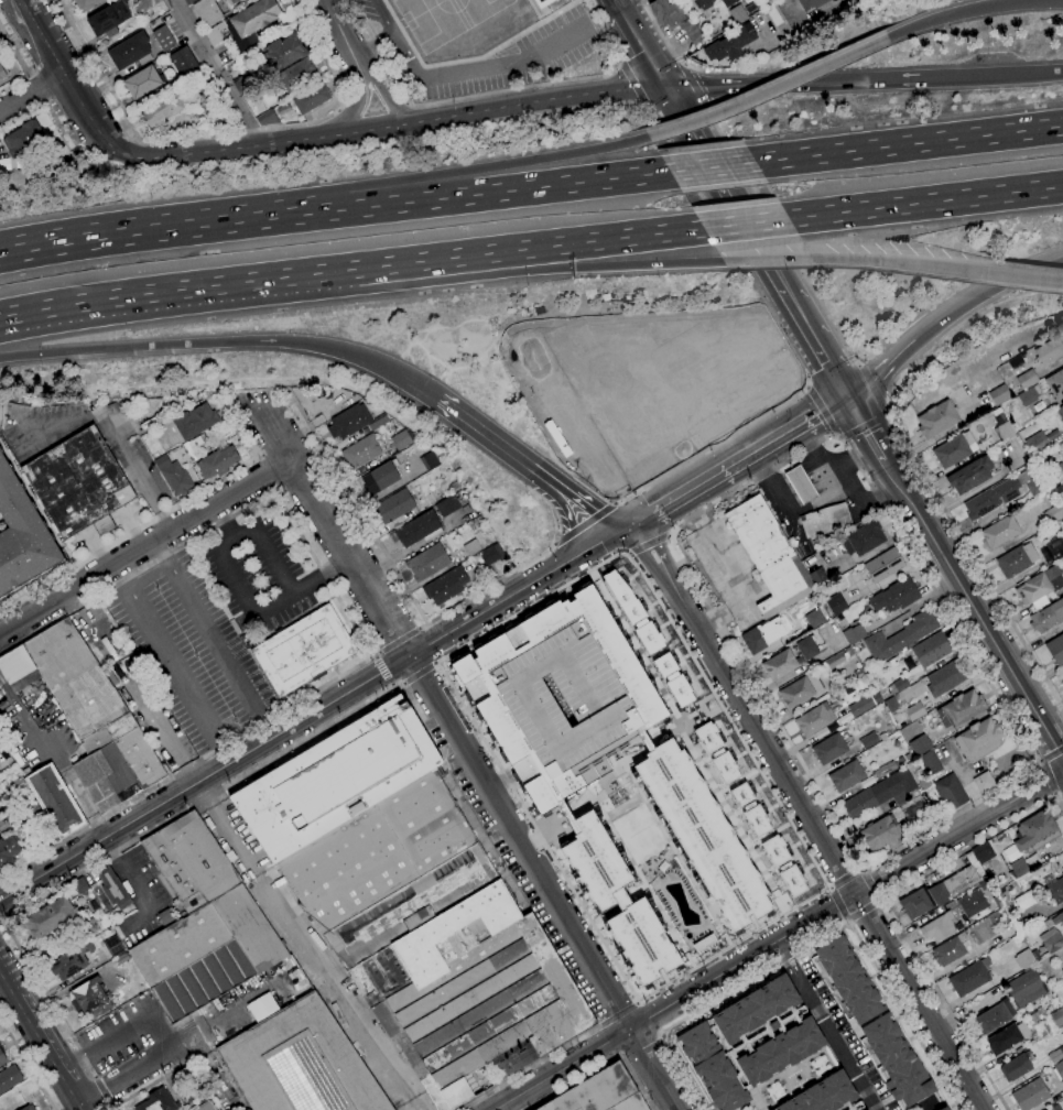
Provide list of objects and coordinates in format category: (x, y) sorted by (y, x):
road: (643, 1)
building: (189, 2)
building: (230, 2)
building: (542, 2)
building: (727, 2)
building: (702, 3)
building: (811, 3)
building: (86, 4)
road: (617, 7)
building: (750, 8)
road: (972, 10)
building: (207, 12)
parking lot: (367, 12)
building: (666, 13)
building: (737, 14)
park: (487, 15)
road: (383, 17)
road: (815, 17)
building: (254, 18)
building: (778, 19)
building: (108, 20)
park: (431, 23)
building: (215, 33)
road: (338, 34)
building: (232, 35)
building: (693, 35)
building: (163, 39)
road: (664, 40)
road: (372, 44)
building: (729, 44)
building: (129, 51)
road: (642, 51)
building: (281, 54)
road: (381, 55)
parking lot: (516, 58)
road: (619, 62)
building: (183, 63)
road: (23, 64)
road: (683, 64)
road: (481, 66)
building: (3, 70)
road: (217, 73)
road: (1046, 73)
road: (30, 75)
building: (296, 75)
road: (65, 79)
road: (631, 81)
road: (847, 81)
road: (556, 83)
building: (142, 84)
building: (243, 84)
road: (694, 84)
traffic signals: (664, 87)
road: (37, 88)
road: (768, 90)
road: (31, 94)
road: (384, 94)
building: (188, 96)
building: (311, 98)
building: (217, 100)
road: (405, 101)
road: (45, 102)
road: (646, 104)
road: (393, 105)
road: (43, 106)
road: (373, 108)
building: (162, 109)
road: (337, 110)
road: (351, 110)
road: (351, 110)
building: (217, 117)
building: (267, 119)
road: (392, 126)
road: (219, 133)
building: (23, 139)
road: (908, 143)
road: (711, 166)
road: (471, 168)
road: (726, 192)
road: (485, 193)
road: (924, 202)
road: (744, 224)
road: (150, 232)
road: (779, 235)
road: (603, 239)
road: (429, 259)
road: (845, 260)
road: (766, 261)
road: (610, 265)
road: (970, 272)
road: (176, 290)
road: (947, 315)
road: (782, 330)
road: (219, 342)
road: (818, 346)
building: (1049, 351)
building: (1027, 379)
building: (1055, 384)
road: (874, 388)
building: (1037, 390)
building: (295, 391)
building: (327, 394)
building: (999, 395)
traffic signals: (848, 396)
building: (1026, 396)
road: (821, 410)
building: (996, 411)
road: (454, 412)
building: (1060, 412)
building: (115, 414)
building: (1000, 417)
building: (936, 420)
building: (194, 422)
building: (348, 422)
building: (378, 422)
building: (148, 423)
road: (573, 425)
road: (865, 426)
road: (867, 427)
building: (1005, 429)
building: (1052, 435)
building: (401, 440)
building: (199, 442)
building: (1037, 444)
road: (764, 445)
road: (811, 448)
building: (954, 449)
building: (360, 451)
road: (849, 456)
building: (429, 460)
building: (217, 461)
building: (162, 463)
building: (969, 475)
building: (1053, 475)
road: (795, 476)
building: (380, 478)
building: (176, 479)
road: (552, 481)
building: (78, 483)
road: (750, 483)
road: (800, 483)
building: (800, 485)
gas station: (800, 485)
building: (1035, 485)
road: (147, 491)
road: (805, 492)
road: (629, 494)
road: (268, 496)
building: (1059, 496)
building: (991, 498)
road: (617, 501)
road: (779, 501)
road: (668, 504)
road: (561, 505)
building: (393, 507)
building: (447, 507)
road: (692, 510)
building: (1052, 513)
road: (158, 518)
road: (640, 520)
building: (825, 521)
road: (583, 523)
building: (419, 529)
building: (1000, 532)
building: (22, 534)
road: (606, 538)
traffic signals: (608, 538)
building: (863, 538)
building: (1062, 541)
road: (650, 543)
road: (145, 545)
building: (471, 547)
building: (1054, 547)
road: (268, 549)
building: (488, 556)
building: (768, 556)
building: (1017, 561)
building: (427, 563)
road: (975, 564)
building: (883, 565)
road: (728, 569)
road: (394, 572)
road: (551, 572)
building: (818, 576)
building: (445, 586)
parking lot: (250, 588)
building: (1040, 588)
building: (894, 596)
road: (250, 605)
building: (836, 605)
road: (973, 609)
building: (631, 611)
building: (1046, 617)
building: (813, 619)
road: (712, 620)
road: (421, 627)
building: (853, 634)
building: (760, 636)
building: (900, 636)
road: (214, 638)
road: (398, 640)
building: (1055, 649)
building: (303, 650)
building: (805, 650)
building: (931, 650)
road: (376, 653)
road: (372, 657)
road: (173, 659)
building: (834, 661)
road: (433, 663)
building: (15, 664)
building: (779, 665)
road: (382, 672)
road: (417, 673)
building: (1061, 673)
building: (946, 677)
building: (74, 678)
building: (672, 679)
building: (1062, 682)
road: (402, 684)
building: (900, 684)
road: (390, 685)
building: (800, 690)
building: (910, 693)
building: (560, 696)
building: (891, 705)
building: (860, 706)
road: (741, 708)
building: (961, 709)
building: (912, 712)
building: (846, 718)
building: (813, 720)
building: (881, 736)
building: (978, 739)
building: (868, 740)
road: (258, 744)
building: (919, 746)
building: (829, 749)
building: (716, 752)
road: (466, 753)
road: (1052, 755)
building: (116, 763)
building: (929, 763)
road: (186, 768)
building: (887, 768)
building: (846, 776)
road: (1050, 776)
building: (336, 779)
building: (867, 782)
building: (984, 782)
building: (924, 783)
building: (19, 784)
building: (900, 786)
road: (1061, 790)
building: (950, 792)
road: (1059, 797)
building: (55, 801)
building: (864, 801)
building: (32, 806)
building: (912, 807)
building: (749, 809)
road: (952, 813)
building: (3, 817)
road: (150, 831)
road: (229, 831)
building: (879, 833)
building: (1035, 833)
building: (703, 836)
road: (970, 848)
building: (8, 851)
building: (983, 851)
building: (191, 862)
building: (782, 866)
building: (1019, 868)
road: (861, 869)
building: (387, 870)
building: (965, 877)
road: (845, 880)
building: (1012, 884)
road: (868, 885)
road: (132, 888)
road: (826, 889)
building: (113, 890)
road: (822, 890)
building: (1056, 890)
road: (879, 900)
building: (1026, 900)
building: (924, 901)
building: (619, 902)
building: (996, 902)
building: (972, 903)
road: (838, 907)
road: (861, 910)
building: (48, 916)
building: (1056, 919)
road: (1, 921)
building: (939, 927)
road: (779, 939)
building: (1051, 940)
road: (811, 944)
building: (112, 946)
building: (950, 949)
building: (206, 954)
building: (1035, 955)
building: (120, 958)
building: (1023, 959)
building: (68, 964)
building: (1062, 971)
building: (969, 978)
building: (848, 980)
building: (1024, 989)
building: (471, 994)
road: (335, 997)
building: (90, 999)
road: (915, 1001)
road: (944, 1005)
road: (617, 1014)
building: (994, 1016)
building: (1057, 1016)
road: (651, 1018)
road: (825, 1025)
building: (1007, 1037)
road: (40, 1042)
road: (607, 1043)
building: (749, 1043)
road: (641, 1046)
building: (1054, 1056)
building: (2, 1059)
building: (896, 1060)
road: (28, 1062)
building: (300, 1063)
road: (604, 1067)
road: (528, 1068)
building: (1016, 1068)
building: (1059, 1070)
road: (129, 1075)
building: (9, 1077)
road: (151, 1085)
road: (105, 1091)
building: (600, 1093)
building: (1030, 1095)
building: (824, 1096)
building: (159, 1101)
building: (207, 1107)
building: (29, 1108)
building: (943, 1108)
building: (1054, 1108)

